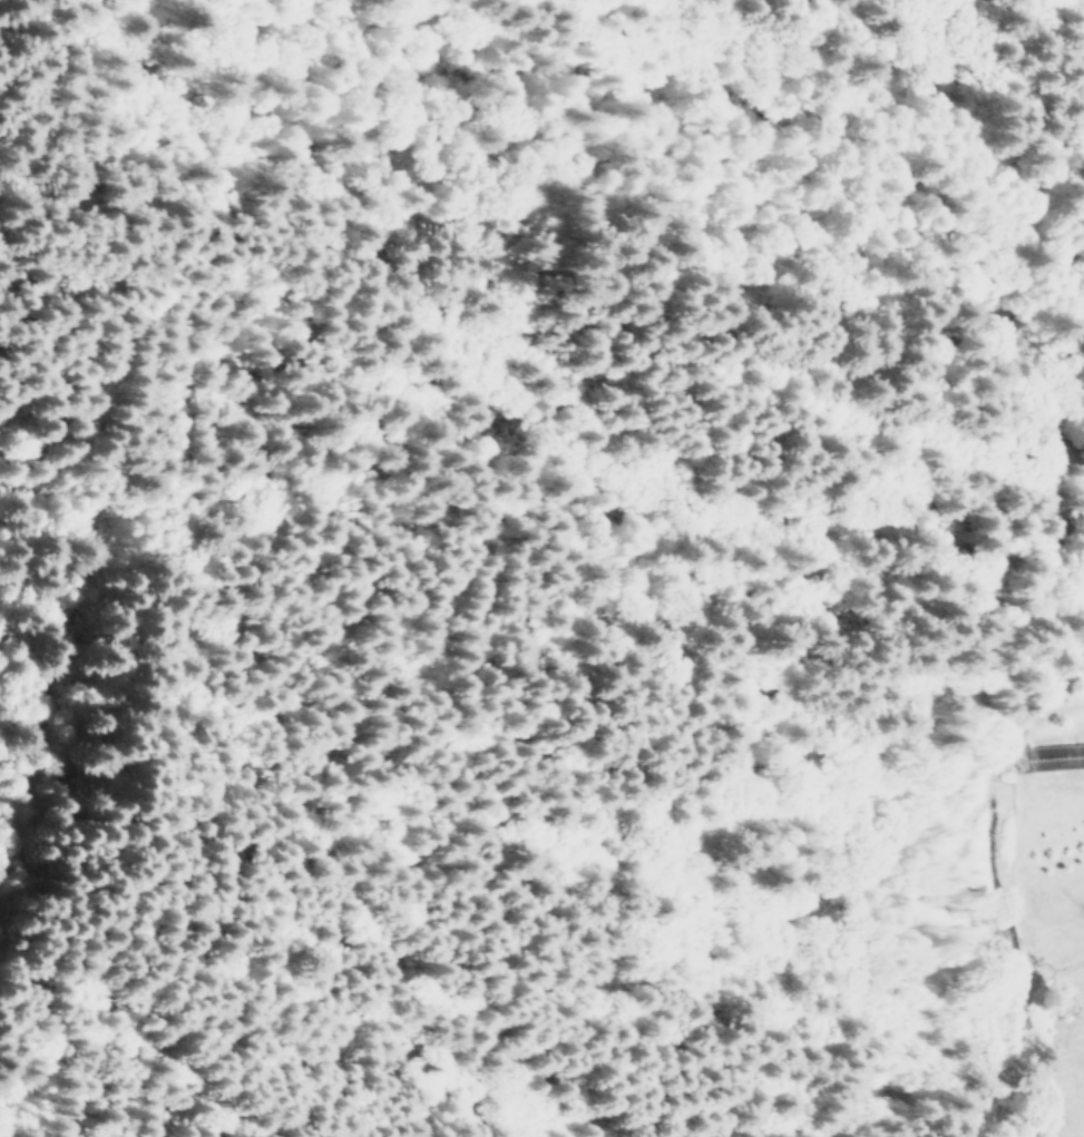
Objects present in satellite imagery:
road: (52, 596)
building: (1054, 756)
road: (977, 898)

